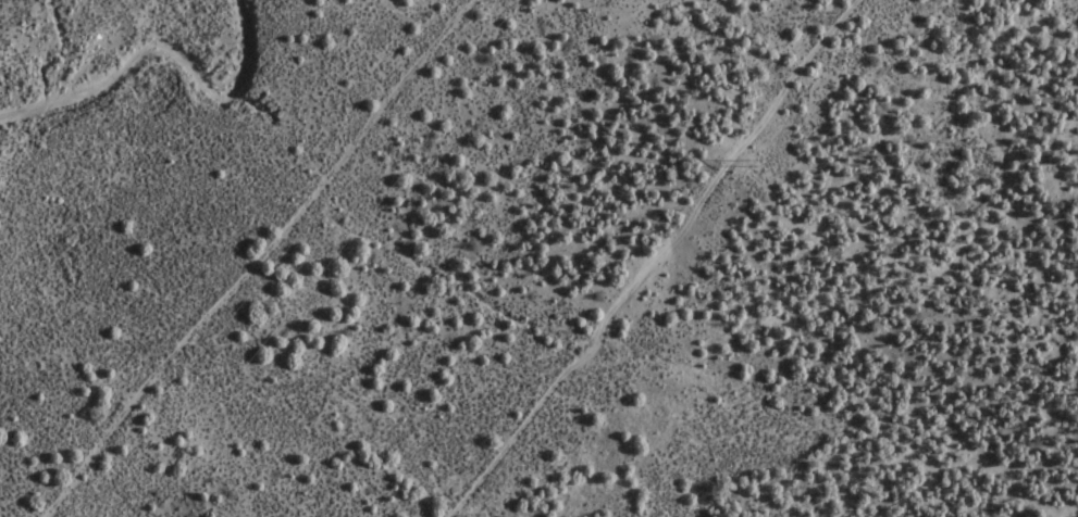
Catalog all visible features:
river: (150, 40)

